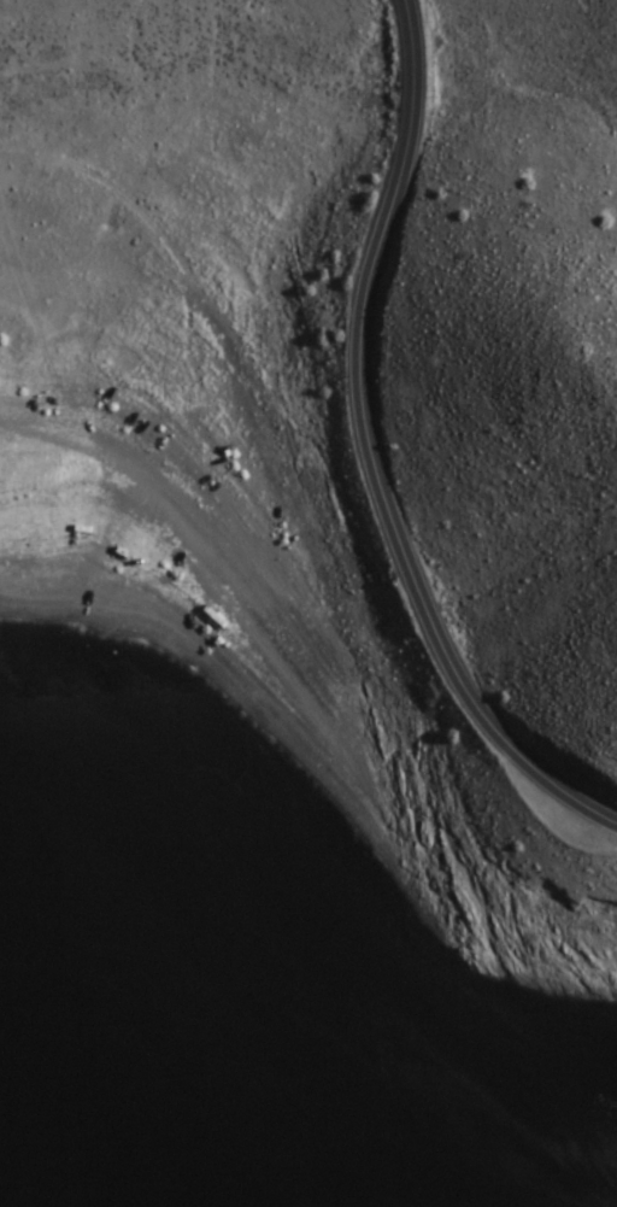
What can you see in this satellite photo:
road: (374, 451)

